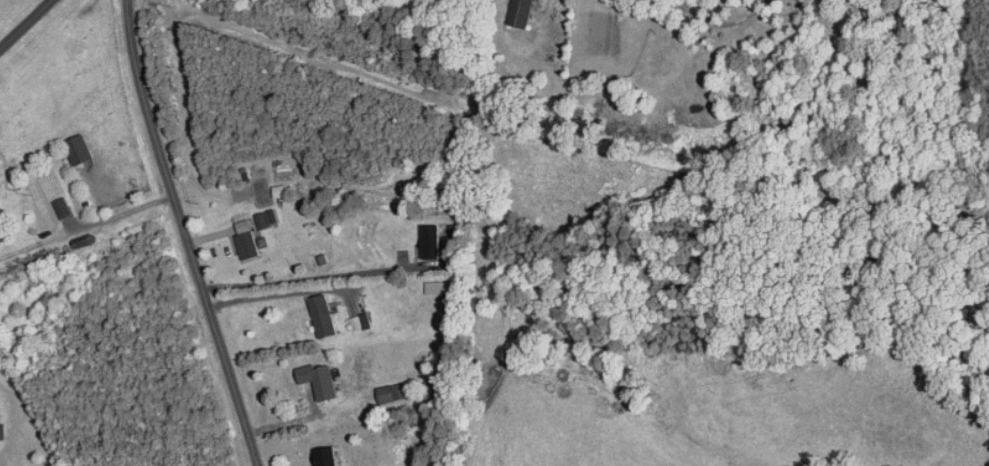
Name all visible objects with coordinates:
building: (520, 13)
road: (25, 24)
road: (343, 110)
building: (78, 150)
road: (185, 234)
building: (246, 242)
building: (428, 242)
building: (321, 317)
building: (359, 323)
building: (319, 381)
building: (391, 393)

